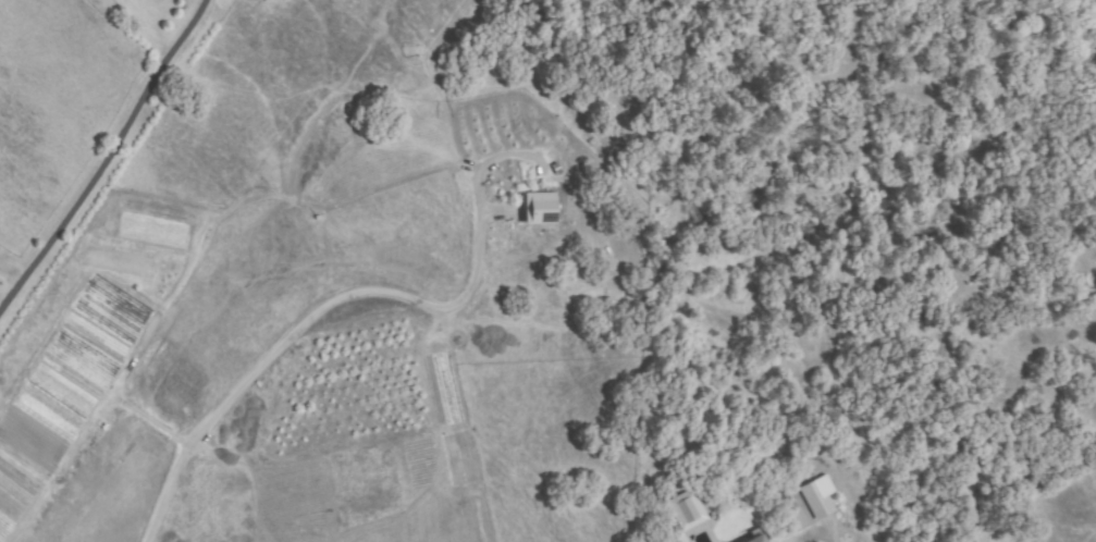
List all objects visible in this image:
building: (541, 210)
building: (818, 498)
building: (687, 510)
building: (793, 519)
building: (753, 539)

